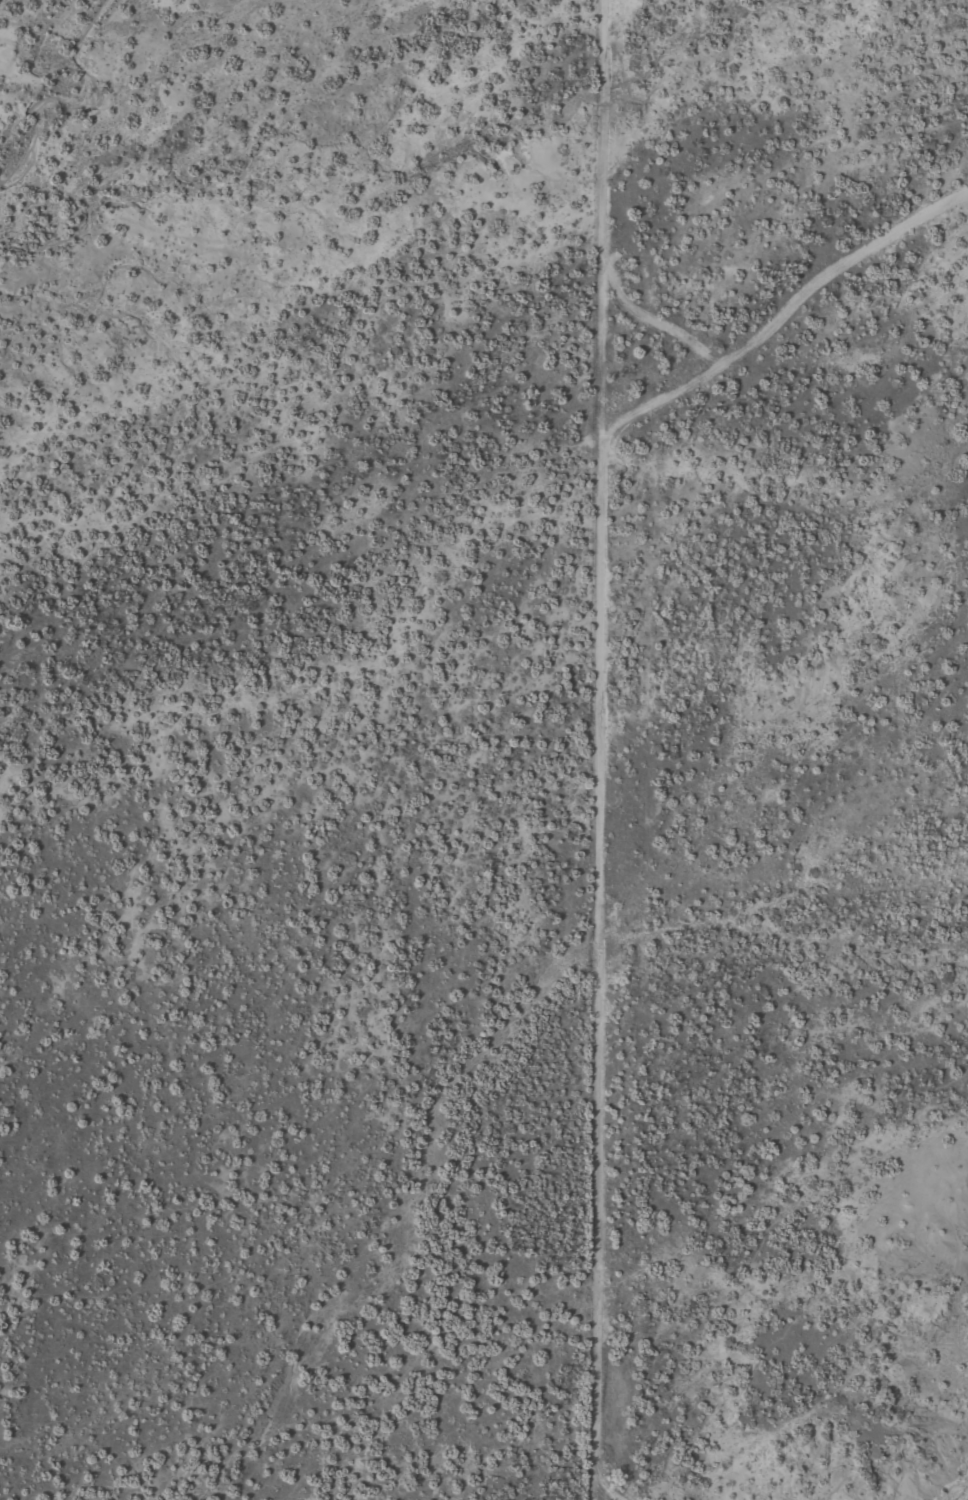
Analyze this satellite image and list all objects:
road: (556, 682)

